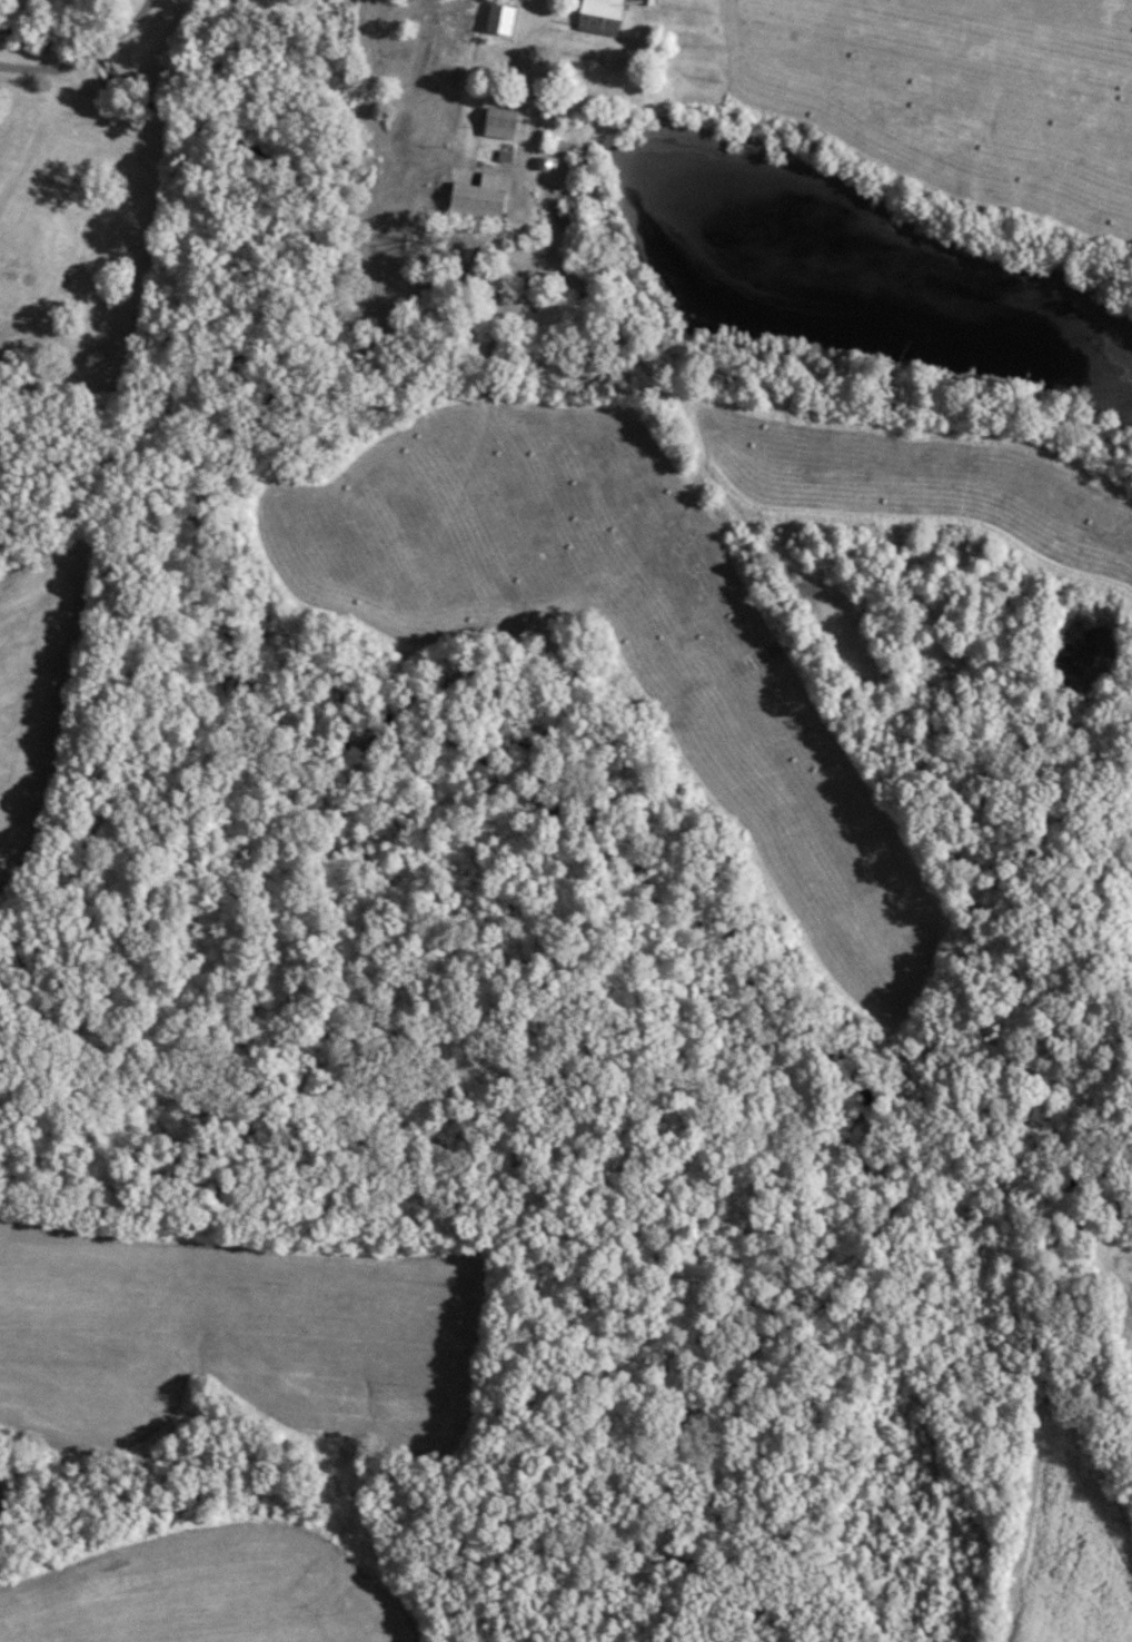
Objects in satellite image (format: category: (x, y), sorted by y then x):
building: (602, 17)
building: (503, 19)
road: (85, 58)
road: (515, 81)
building: (508, 123)
building: (480, 200)

